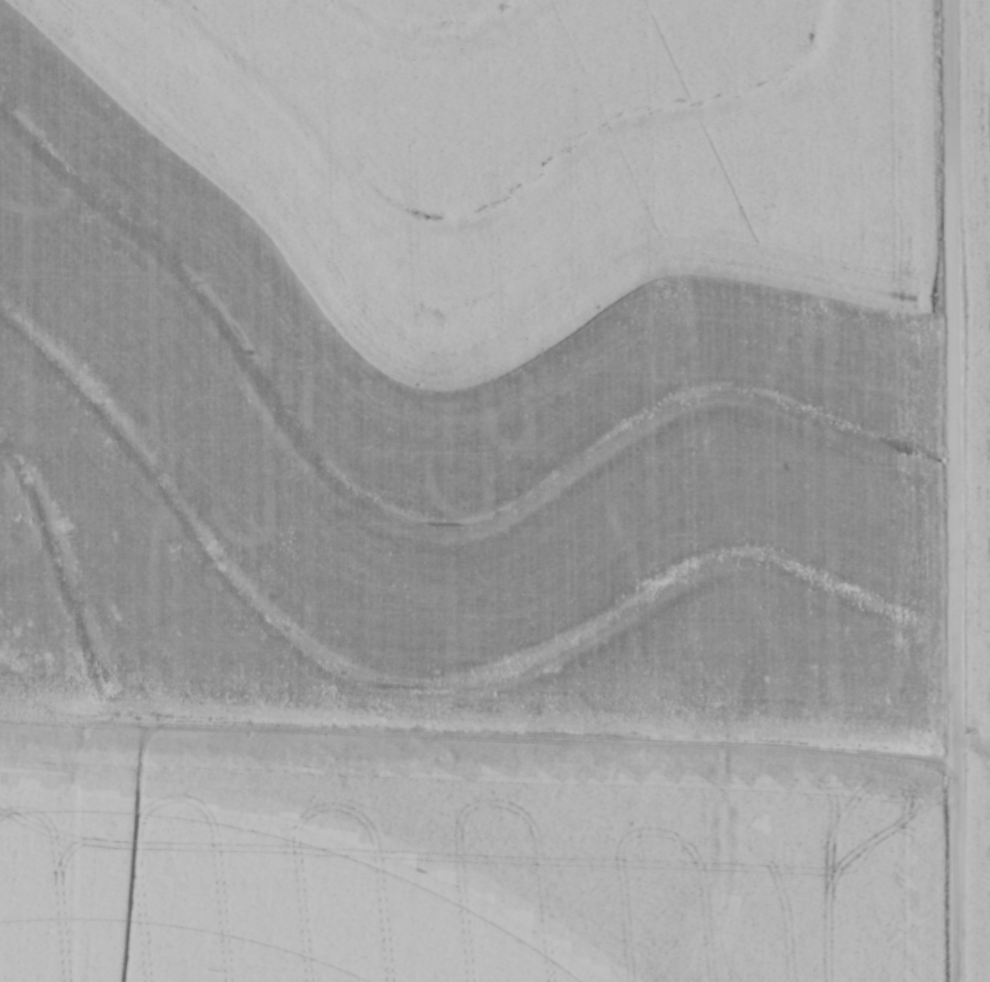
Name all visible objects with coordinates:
road: (956, 490)

